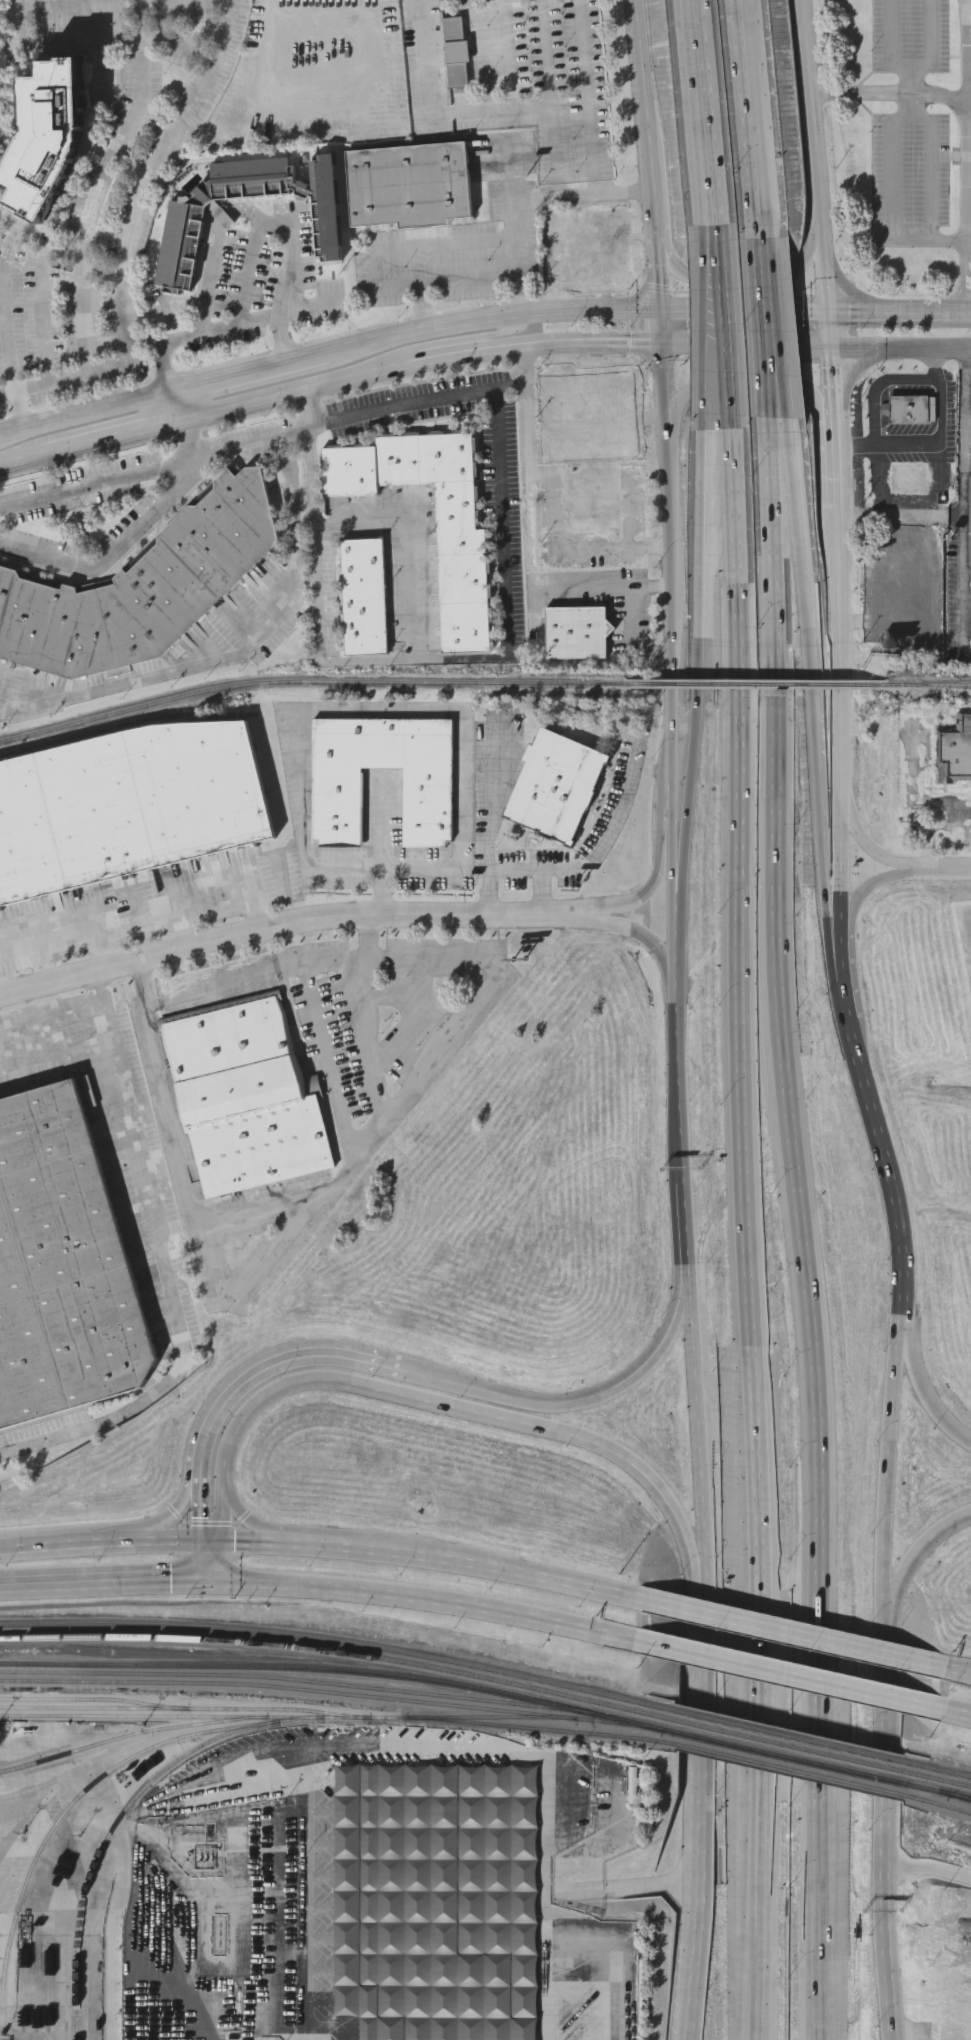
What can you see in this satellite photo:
road: (127, 3)
road: (139, 19)
road: (85, 40)
road: (891, 44)
road: (967, 49)
road: (508, 53)
building: (457, 55)
road: (933, 57)
road: (891, 94)
road: (308, 101)
road: (650, 103)
road: (489, 108)
road: (702, 116)
road: (749, 116)
building: (45, 137)
road: (934, 167)
road: (151, 171)
road: (822, 176)
building: (408, 184)
road: (890, 191)
road: (523, 198)
road: (968, 205)
road: (655, 222)
road: (88, 224)
building: (183, 225)
road: (621, 225)
road: (549, 232)
road: (41, 235)
road: (640, 237)
road: (448, 246)
building: (584, 248)
road: (762, 259)
road: (248, 270)
road: (44, 272)
road: (658, 272)
road: (738, 272)
road: (607, 276)
road: (284, 278)
road: (445, 283)
road: (207, 290)
road: (852, 290)
traffic signals: (834, 305)
road: (857, 306)
traffic signals: (660, 308)
road: (908, 310)
road: (953, 311)
road: (661, 326)
road: (411, 331)
road: (725, 336)
road: (713, 337)
road: (146, 341)
road: (441, 343)
traffic signals: (662, 345)
road: (751, 349)
road: (164, 350)
traffic signals: (840, 353)
road: (905, 354)
road: (5, 356)
road: (773, 358)
road: (765, 359)
road: (421, 365)
road: (859, 370)
road: (68, 374)
road: (617, 376)
road: (840, 380)
road: (969, 380)
road: (524, 383)
road: (877, 386)
road: (7, 391)
road: (751, 396)
road: (17, 401)
road: (181, 404)
building: (589, 408)
building: (913, 408)
road: (113, 435)
road: (600, 442)
road: (937, 447)
road: (238, 451)
road: (839, 457)
road: (21, 459)
building: (909, 479)
road: (119, 482)
road: (964, 505)
building: (970, 519)
road: (530, 537)
road: (110, 550)
road: (670, 551)
building: (904, 578)
building: (143, 590)
building: (463, 591)
building: (363, 598)
road: (632, 617)
building: (575, 633)
road: (317, 641)
road: (246, 643)
road: (506, 657)
railway: (309, 680)
railway: (756, 683)
railway: (929, 684)
road: (696, 687)
road: (808, 705)
road: (352, 710)
road: (840, 718)
railway: (124, 722)
building: (954, 751)
building: (554, 786)
building: (128, 807)
building: (338, 808)
road: (383, 824)
road: (488, 825)
road: (610, 826)
road: (865, 842)
road: (668, 846)
road: (659, 868)
road: (938, 868)
road: (538, 869)
road: (864, 889)
road: (142, 920)
road: (281, 935)
road: (181, 936)
road: (634, 936)
road: (18, 946)
road: (102, 953)
road: (842, 953)
road: (412, 956)
road: (848, 999)
road: (45, 1039)
road: (329, 1044)
road: (677, 1058)
building: (245, 1096)
road: (878, 1114)
road: (277, 1199)
road: (809, 1236)
road: (750, 1239)
road: (689, 1243)
road: (906, 1253)
building: (60, 1269)
road: (155, 1271)
road: (250, 1279)
road: (260, 1361)
road: (921, 1373)
road: (440, 1376)
road: (600, 1391)
road: (442, 1402)
road: (695, 1447)
road: (894, 1459)
traffic signals: (187, 1513)
road: (186, 1514)
road: (245, 1514)
road: (157, 1521)
road: (200, 1540)
road: (150, 1541)
traffic signals: (245, 1542)
road: (249, 1542)
road: (102, 1544)
road: (341, 1546)
road: (43, 1547)
road: (915, 1558)
road: (184, 1561)
road: (215, 1561)
road: (517, 1571)
road: (91, 1582)
road: (199, 1582)
traffic signals: (168, 1583)
road: (426, 1601)
road: (792, 1633)
railway: (326, 1639)
railway: (326, 1649)
railway: (326, 1668)
road: (960, 1672)
road: (791, 1677)
railway: (293, 1678)
road: (694, 1683)
railway: (324, 1690)
railway: (95, 1699)
railway: (185, 1708)
road: (959, 1714)
railway: (127, 1716)
railway: (509, 1716)
railway: (352, 1717)
railway: (534, 1728)
railway: (774, 1733)
railway: (125, 1736)
road: (883, 1741)
railway: (774, 1742)
railway: (680, 1753)
railway: (775, 1754)
railway: (724, 1762)
railway: (773, 1764)
railway: (936, 1770)
railway: (936, 1779)
railway: (847, 1790)
railway: (936, 1790)
railway: (964, 1797)
railway: (75, 1799)
railway: (895, 1802)
railway: (937, 1802)
railway: (895, 1803)
road: (312, 1804)
building: (520, 1815)
railway: (114, 1821)
road: (687, 1845)
road: (123, 1854)
road: (927, 1869)
road: (584, 1891)
road: (894, 1949)
road: (544, 1950)
road: (683, 1978)

